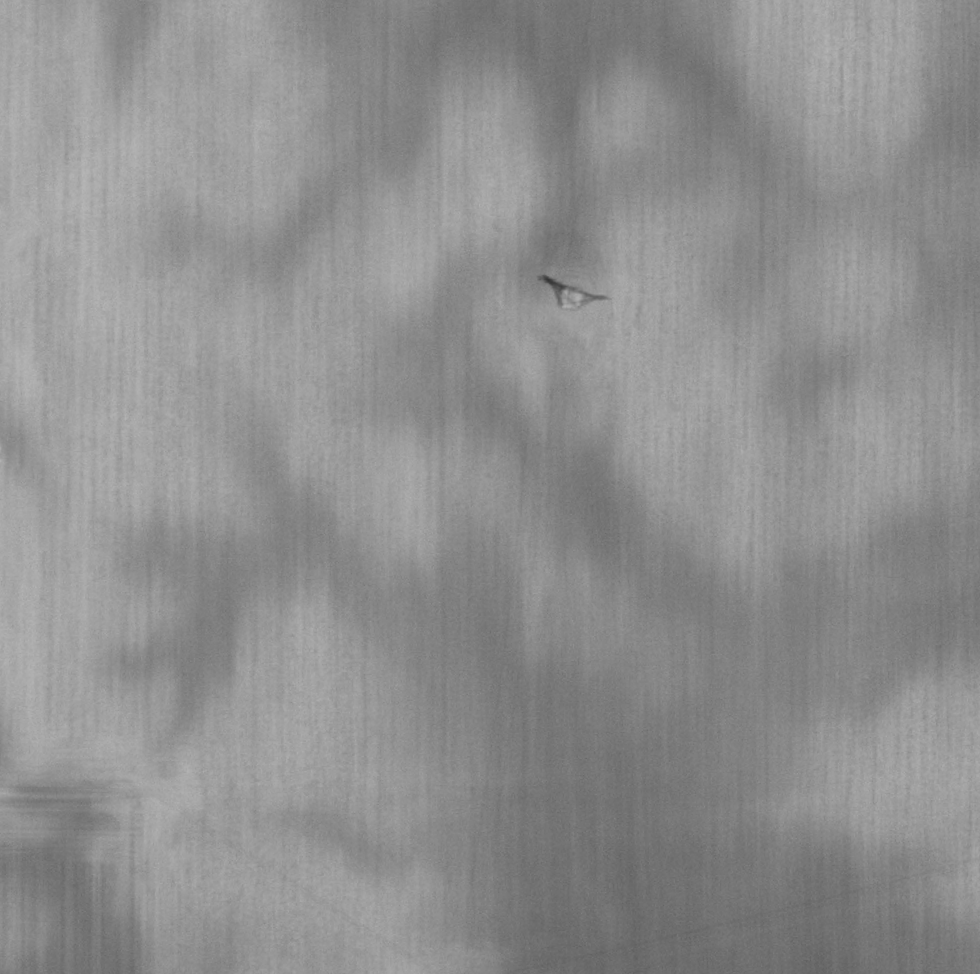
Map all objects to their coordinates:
power tower: (566, 298)

